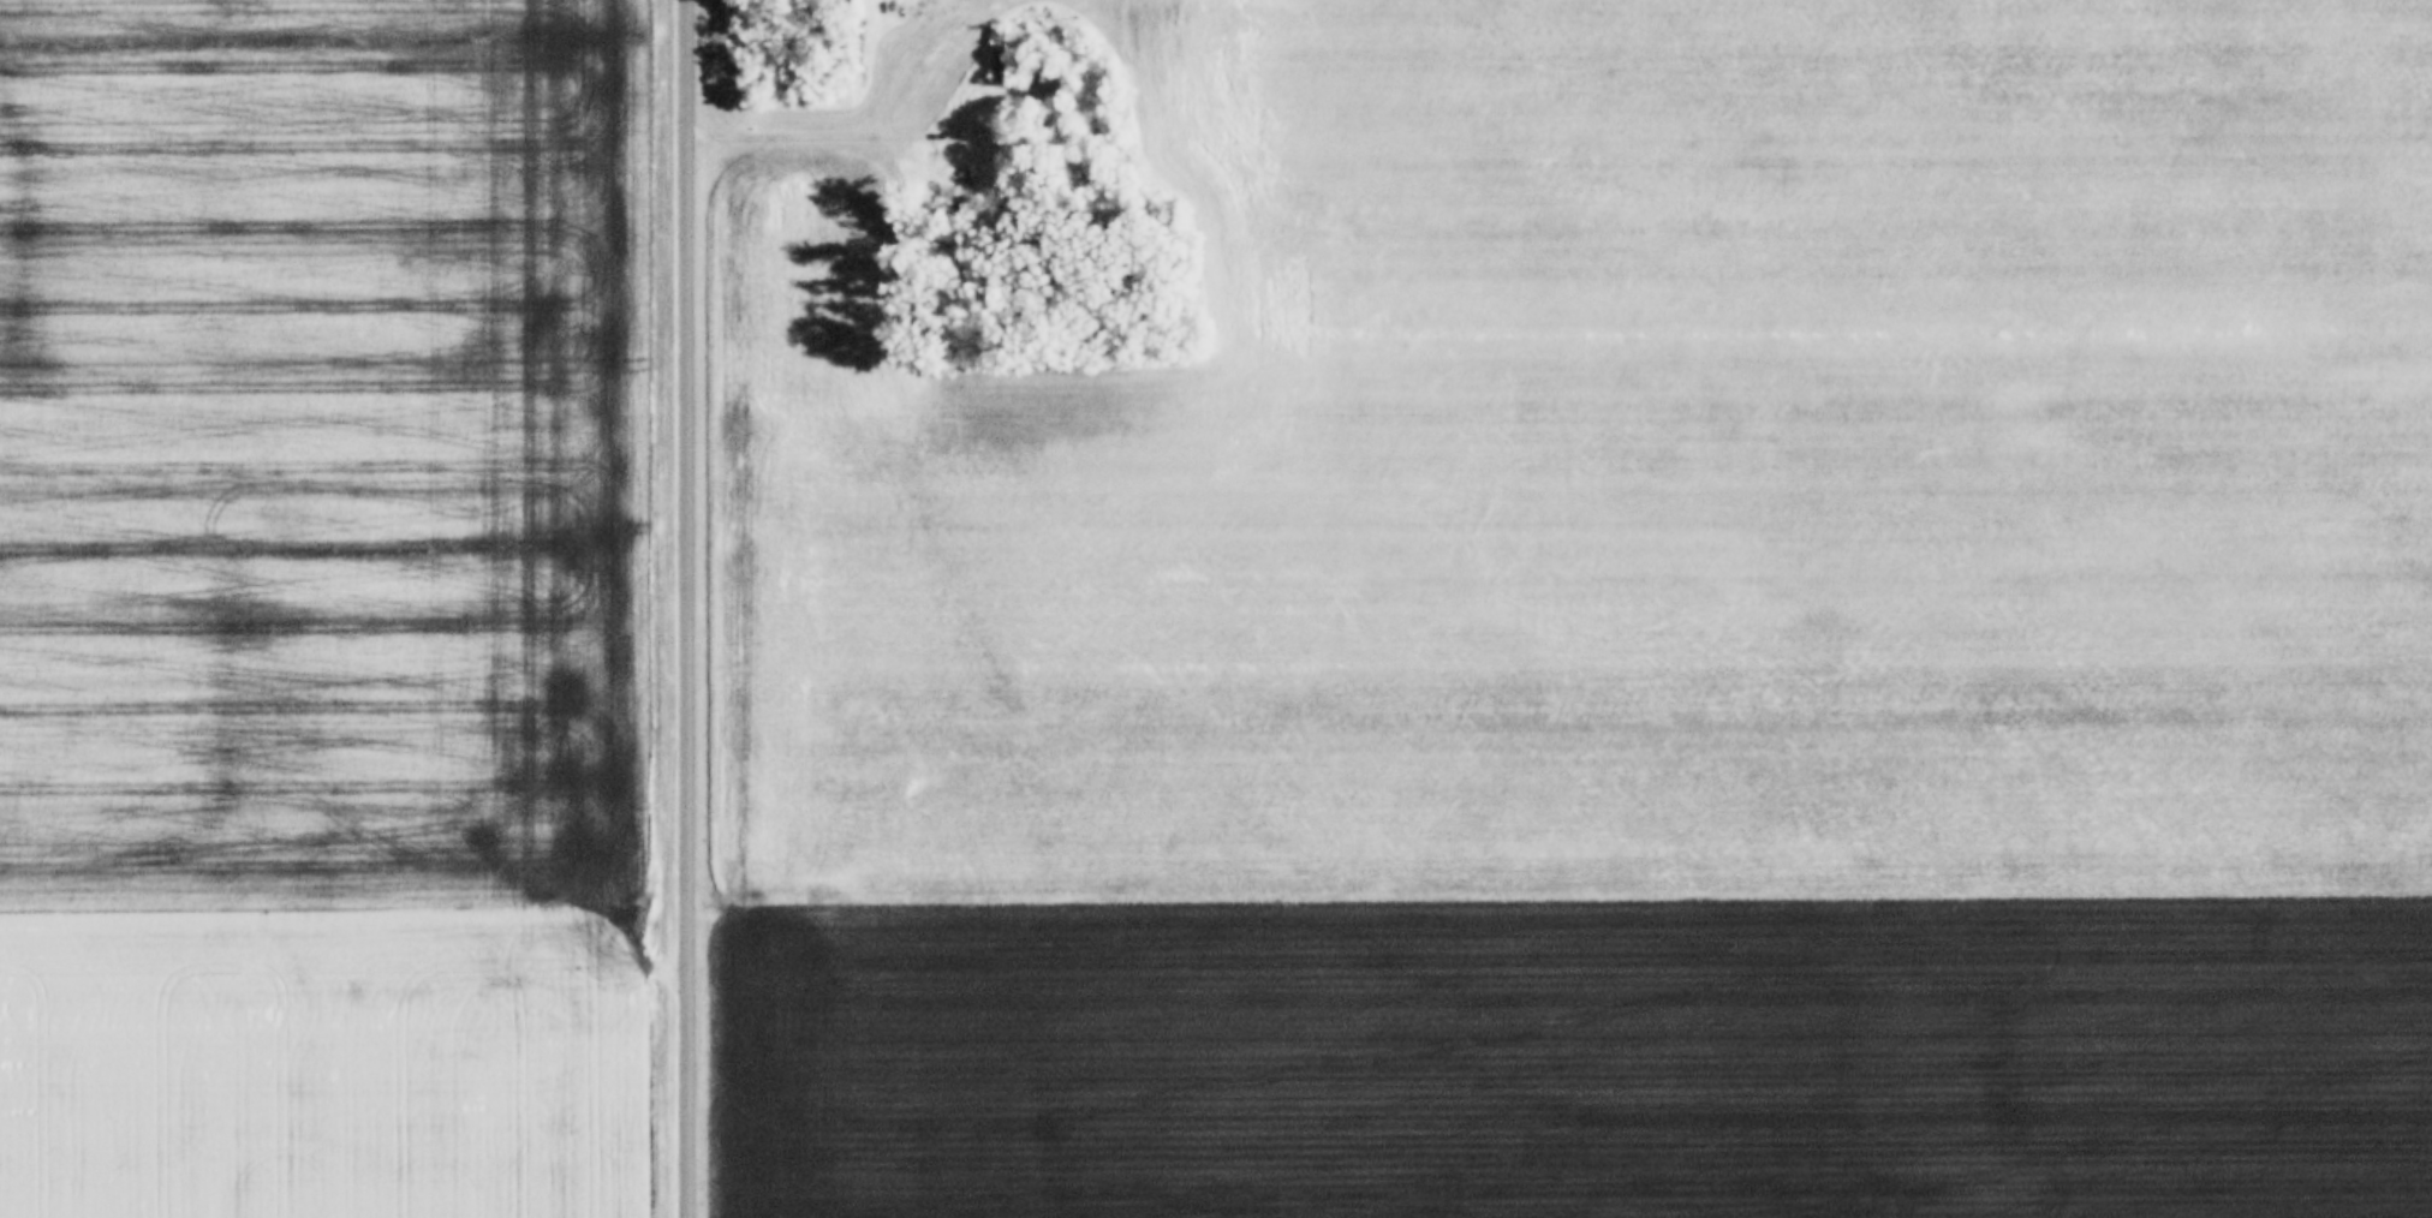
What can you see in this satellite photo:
road: (856, 129)
road: (686, 608)

